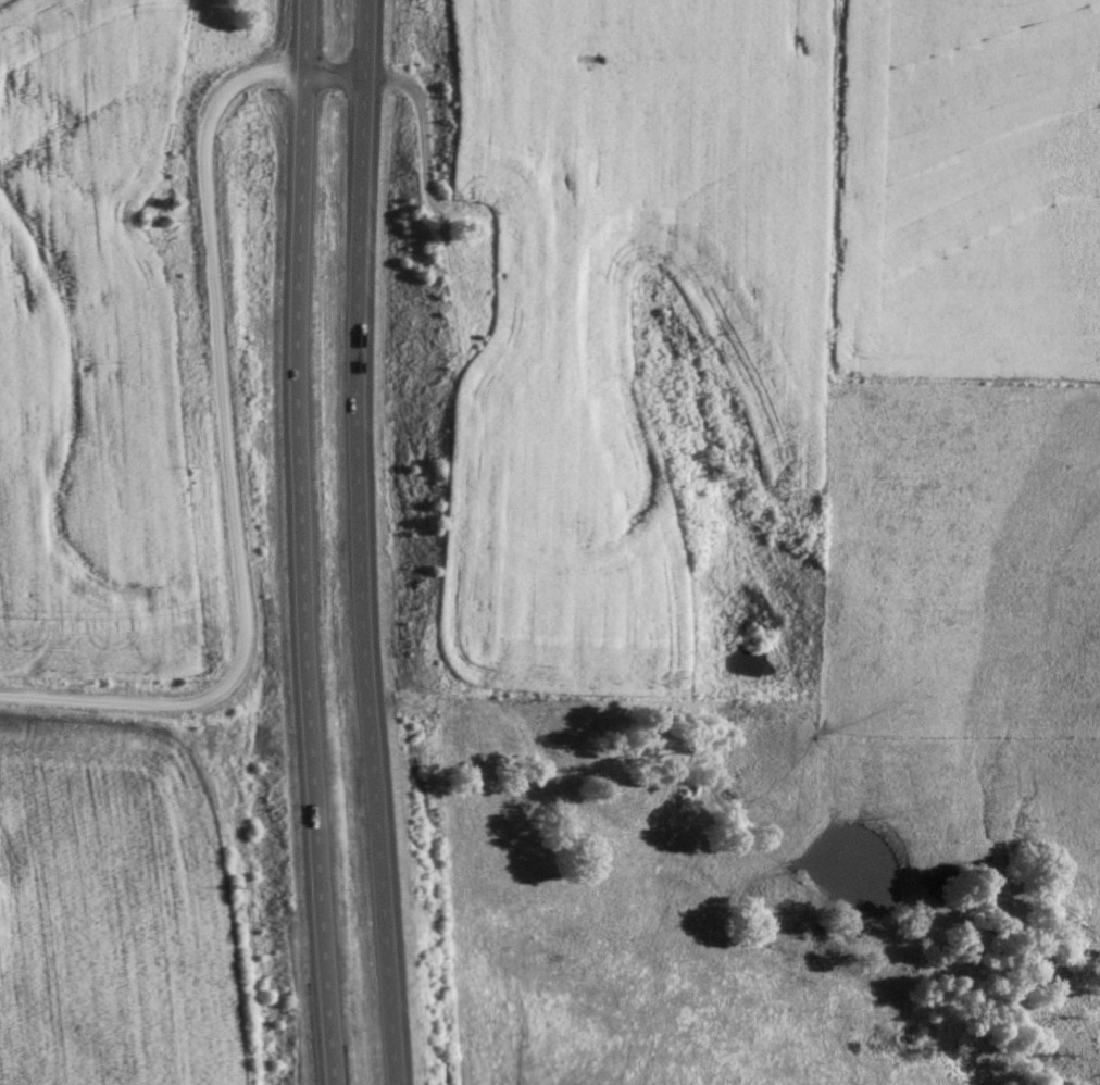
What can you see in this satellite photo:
road: (220, 325)
road: (297, 542)
road: (366, 542)

